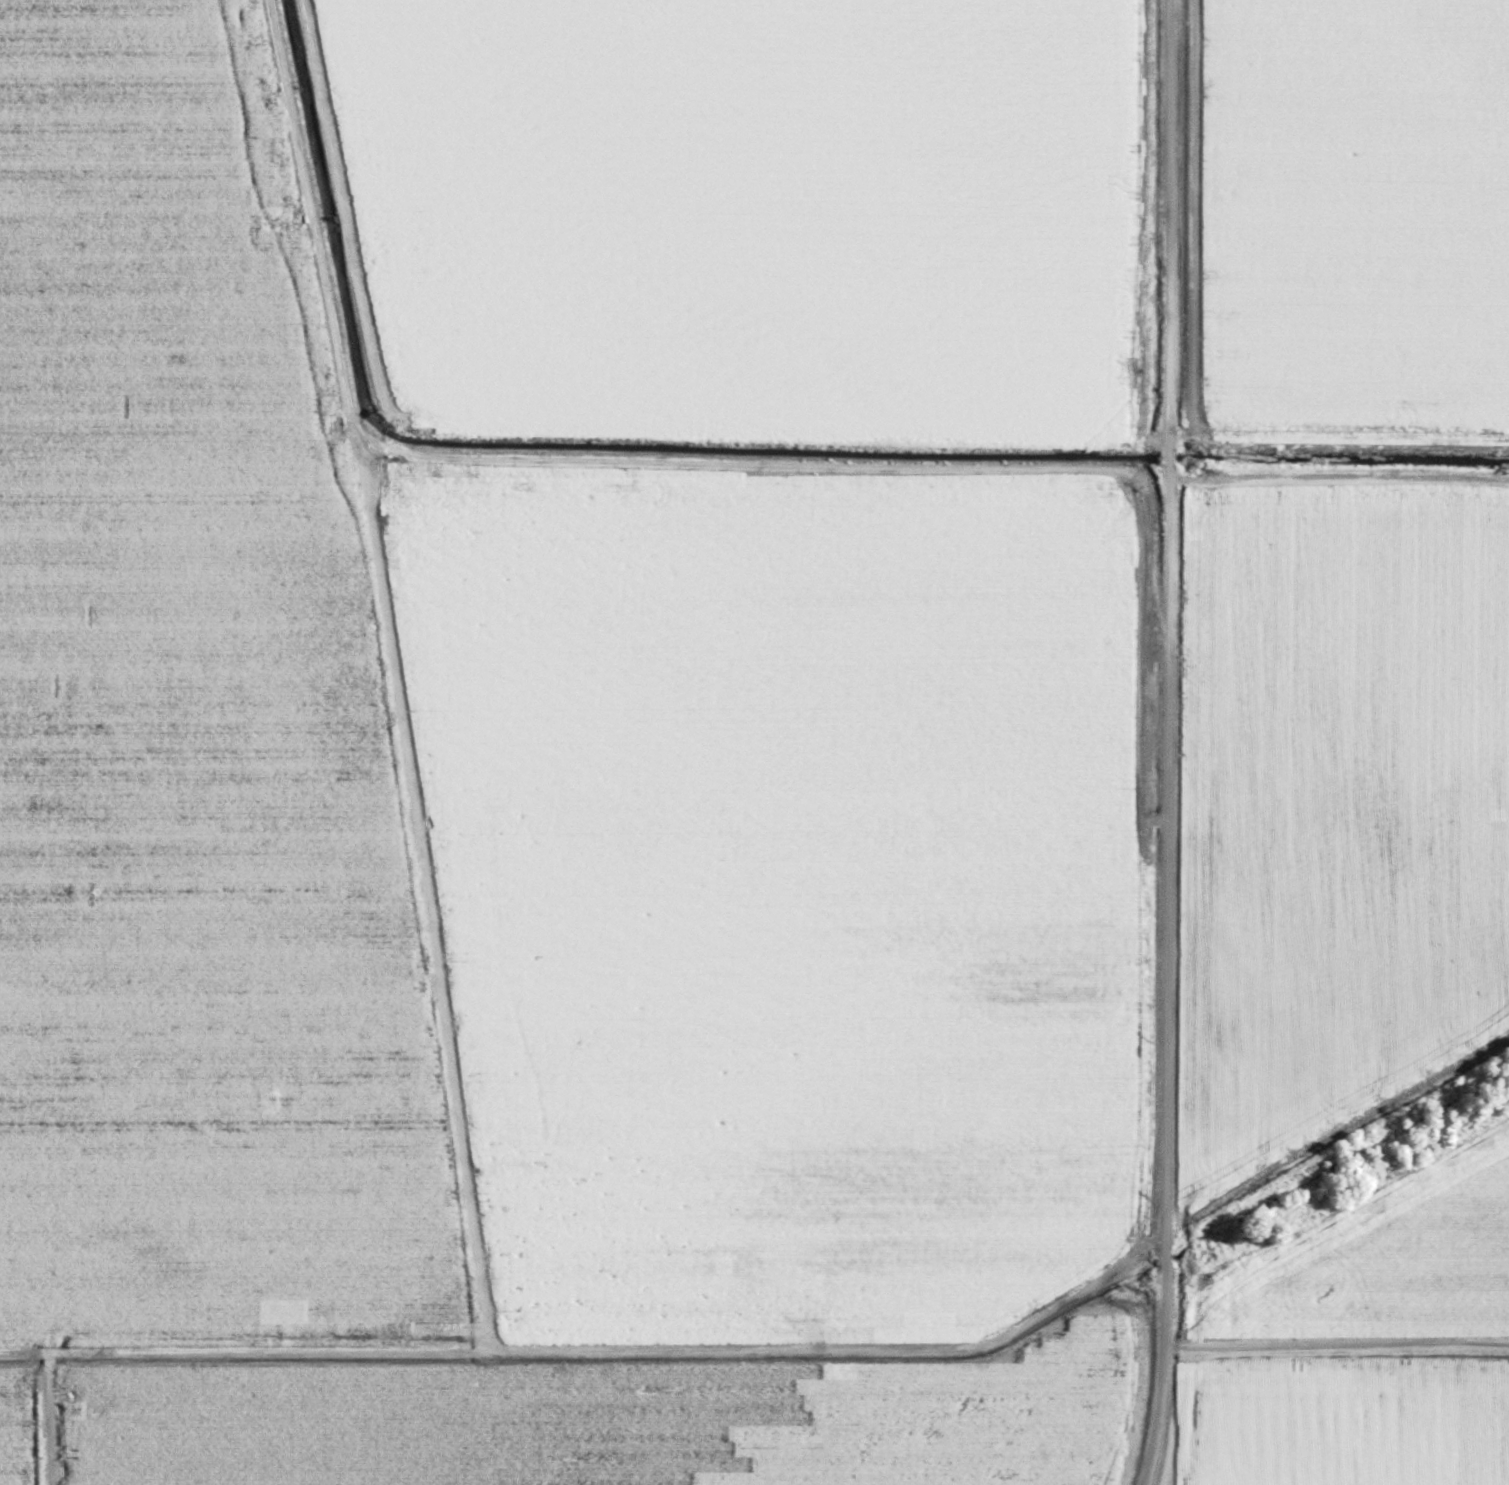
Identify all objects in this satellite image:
road: (1158, 744)
road: (607, 1346)
road: (1333, 1346)

